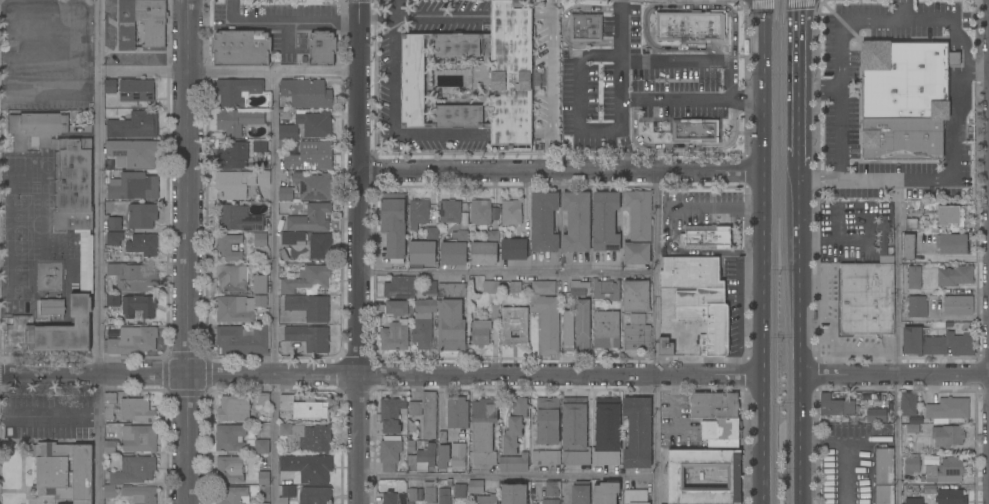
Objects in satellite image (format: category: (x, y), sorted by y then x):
road: (743, 1)
road: (778, 2)
road: (655, 8)
road: (903, 11)
road: (438, 16)
road: (288, 20)
building: (152, 21)
building: (126, 25)
building: (586, 27)
building: (689, 27)
road: (564, 28)
road: (623, 29)
road: (840, 32)
building: (457, 44)
building: (241, 48)
building: (321, 48)
road: (45, 63)
road: (677, 64)
road: (95, 65)
road: (549, 67)
road: (971, 70)
road: (230, 73)
building: (511, 74)
building: (906, 79)
building: (537, 80)
building: (412, 81)
road: (800, 81)
road: (732, 82)
building: (110, 86)
parking lot: (841, 89)
building: (136, 91)
building: (237, 91)
building: (306, 92)
road: (692, 101)
road: (393, 111)
building: (457, 117)
building: (237, 120)
building: (134, 125)
building: (305, 126)
building: (694, 130)
road: (579, 131)
building: (902, 139)
building: (259, 146)
road: (623, 151)
road: (953, 152)
building: (132, 153)
building: (234, 156)
building: (310, 156)
road: (562, 170)
road: (801, 173)
building: (239, 183)
building: (133, 187)
building: (307, 187)
road: (714, 206)
building: (450, 211)
building: (481, 212)
building: (511, 212)
building: (418, 213)
building: (141, 216)
building: (950, 216)
building: (238, 218)
building: (310, 218)
building: (543, 221)
building: (605, 221)
building: (576, 222)
building: (114, 223)
road: (275, 223)
building: (911, 224)
building: (60, 226)
building: (394, 227)
building: (638, 227)
building: (431, 233)
building: (882, 234)
building: (292, 237)
building: (706, 237)
building: (260, 239)
building: (134, 242)
building: (952, 243)
building: (320, 246)
building: (908, 247)
building: (228, 248)
building: (454, 249)
building: (514, 249)
building: (485, 250)
road: (99, 251)
road: (187, 251)
road: (358, 251)
railway: (776, 251)
railway: (786, 251)
road: (762, 252)
building: (421, 253)
building: (885, 260)
building: (691, 272)
road: (507, 273)
building: (955, 275)
building: (132, 277)
building: (914, 277)
building: (232, 278)
building: (307, 279)
building: (260, 284)
building: (564, 285)
building: (399, 287)
building: (491, 287)
building: (515, 287)
building: (429, 288)
building: (451, 290)
building: (606, 290)
road: (897, 293)
building: (635, 296)
building: (866, 299)
building: (113, 300)
building: (260, 301)
building: (958, 305)
building: (51, 306)
building: (138, 306)
building: (916, 306)
building: (307, 308)
building: (397, 308)
building: (232, 309)
building: (495, 312)
building: (546, 315)
building: (581, 317)
building: (707, 317)
building: (439, 324)
building: (514, 324)
building: (606, 329)
building: (568, 331)
building: (480, 333)
building: (637, 333)
building: (394, 336)
building: (308, 337)
road: (656, 337)
building: (133, 340)
building: (242, 340)
road: (801, 343)
building: (936, 343)
building: (665, 346)
road: (93, 374)
road: (473, 374)
road: (895, 374)
building: (263, 398)
building: (835, 404)
building: (908, 404)
building: (108, 405)
building: (714, 405)
building: (304, 407)
building: (233, 408)
building: (136, 409)
building: (948, 409)
building: (456, 412)
road: (49, 414)
building: (391, 414)
building: (426, 414)
building: (876, 415)
building: (547, 421)
building: (574, 423)
building: (607, 424)
building: (514, 426)
building: (412, 428)
building: (285, 429)
building: (483, 431)
building: (721, 431)
building: (936, 432)
building: (638, 433)
building: (230, 437)
building: (139, 438)
road: (273, 438)
building: (311, 438)
building: (262, 446)
building: (109, 447)
building: (389, 453)
road: (842, 454)
building: (458, 456)
building: (546, 457)
building: (576, 457)
building: (604, 457)
building: (422, 459)
building: (442, 463)
building: (514, 463)
building: (911, 464)
building: (308, 467)
building: (230, 469)
building: (64, 470)
building: (946, 471)
building: (130, 473)
building: (884, 474)
road: (507, 475)
building: (676, 477)
building: (263, 478)
building: (476, 487)
building: (551, 489)
building: (460, 491)
building: (429, 492)
building: (580, 492)
building: (286, 493)
building: (513, 493)
building: (605, 493)
building: (413, 494)
building: (420, 494)
building: (139, 495)
building: (234, 495)
building: (314, 495)
building: (443, 496)
building: (950, 496)
building: (390, 497)
building: (635, 497)
building: (487, 499)
building: (550, 501)
building: (914, 501)
building: (263, 503)

